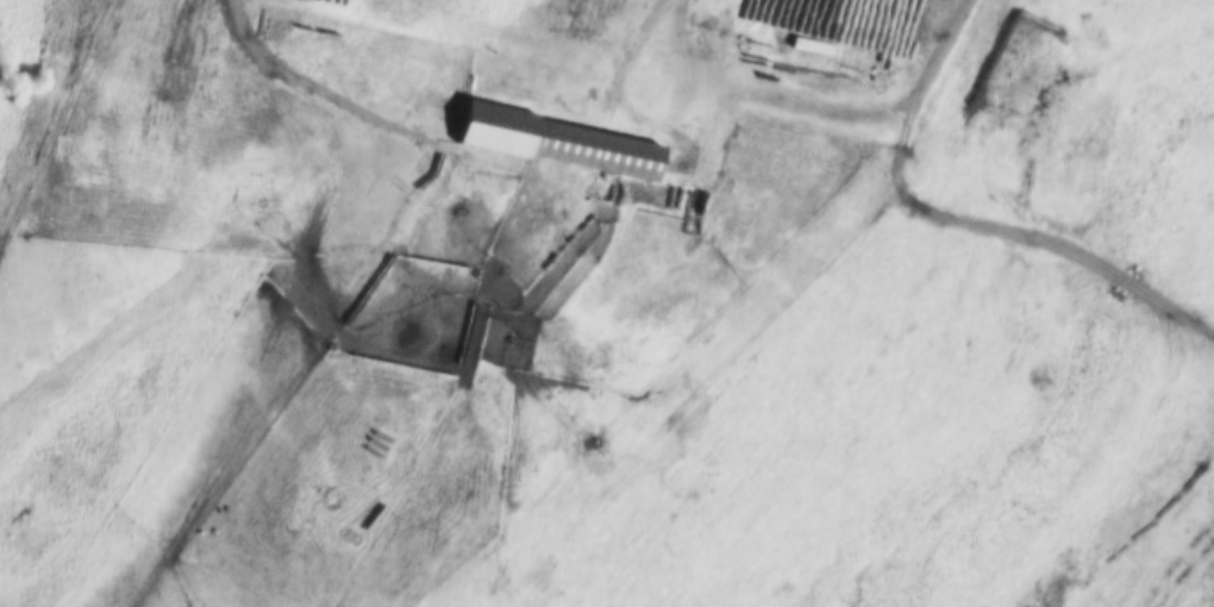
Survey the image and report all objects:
road: (617, 87)
building: (553, 142)
road: (431, 230)

